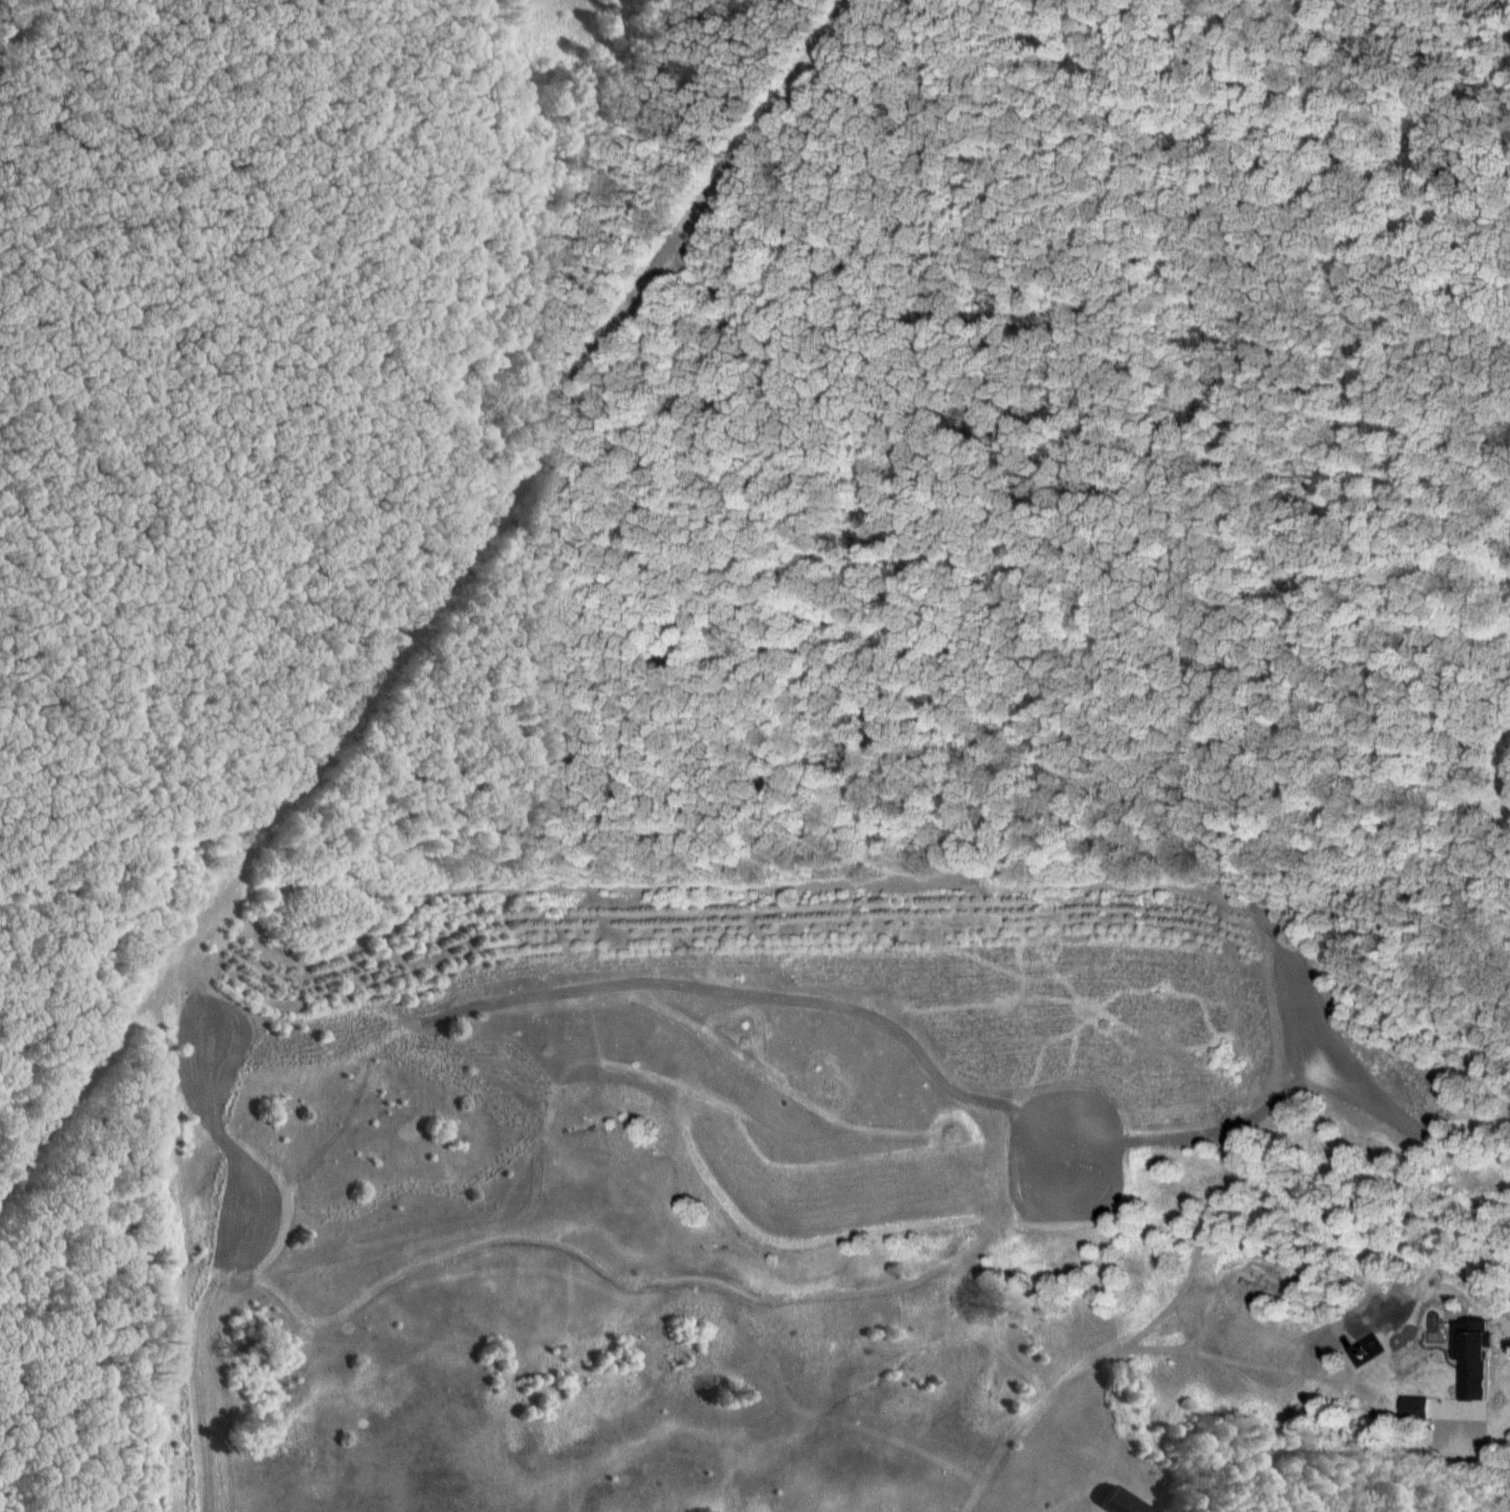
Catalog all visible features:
road: (1467, 483)
building: (1478, 1363)
building: (1119, 1500)

